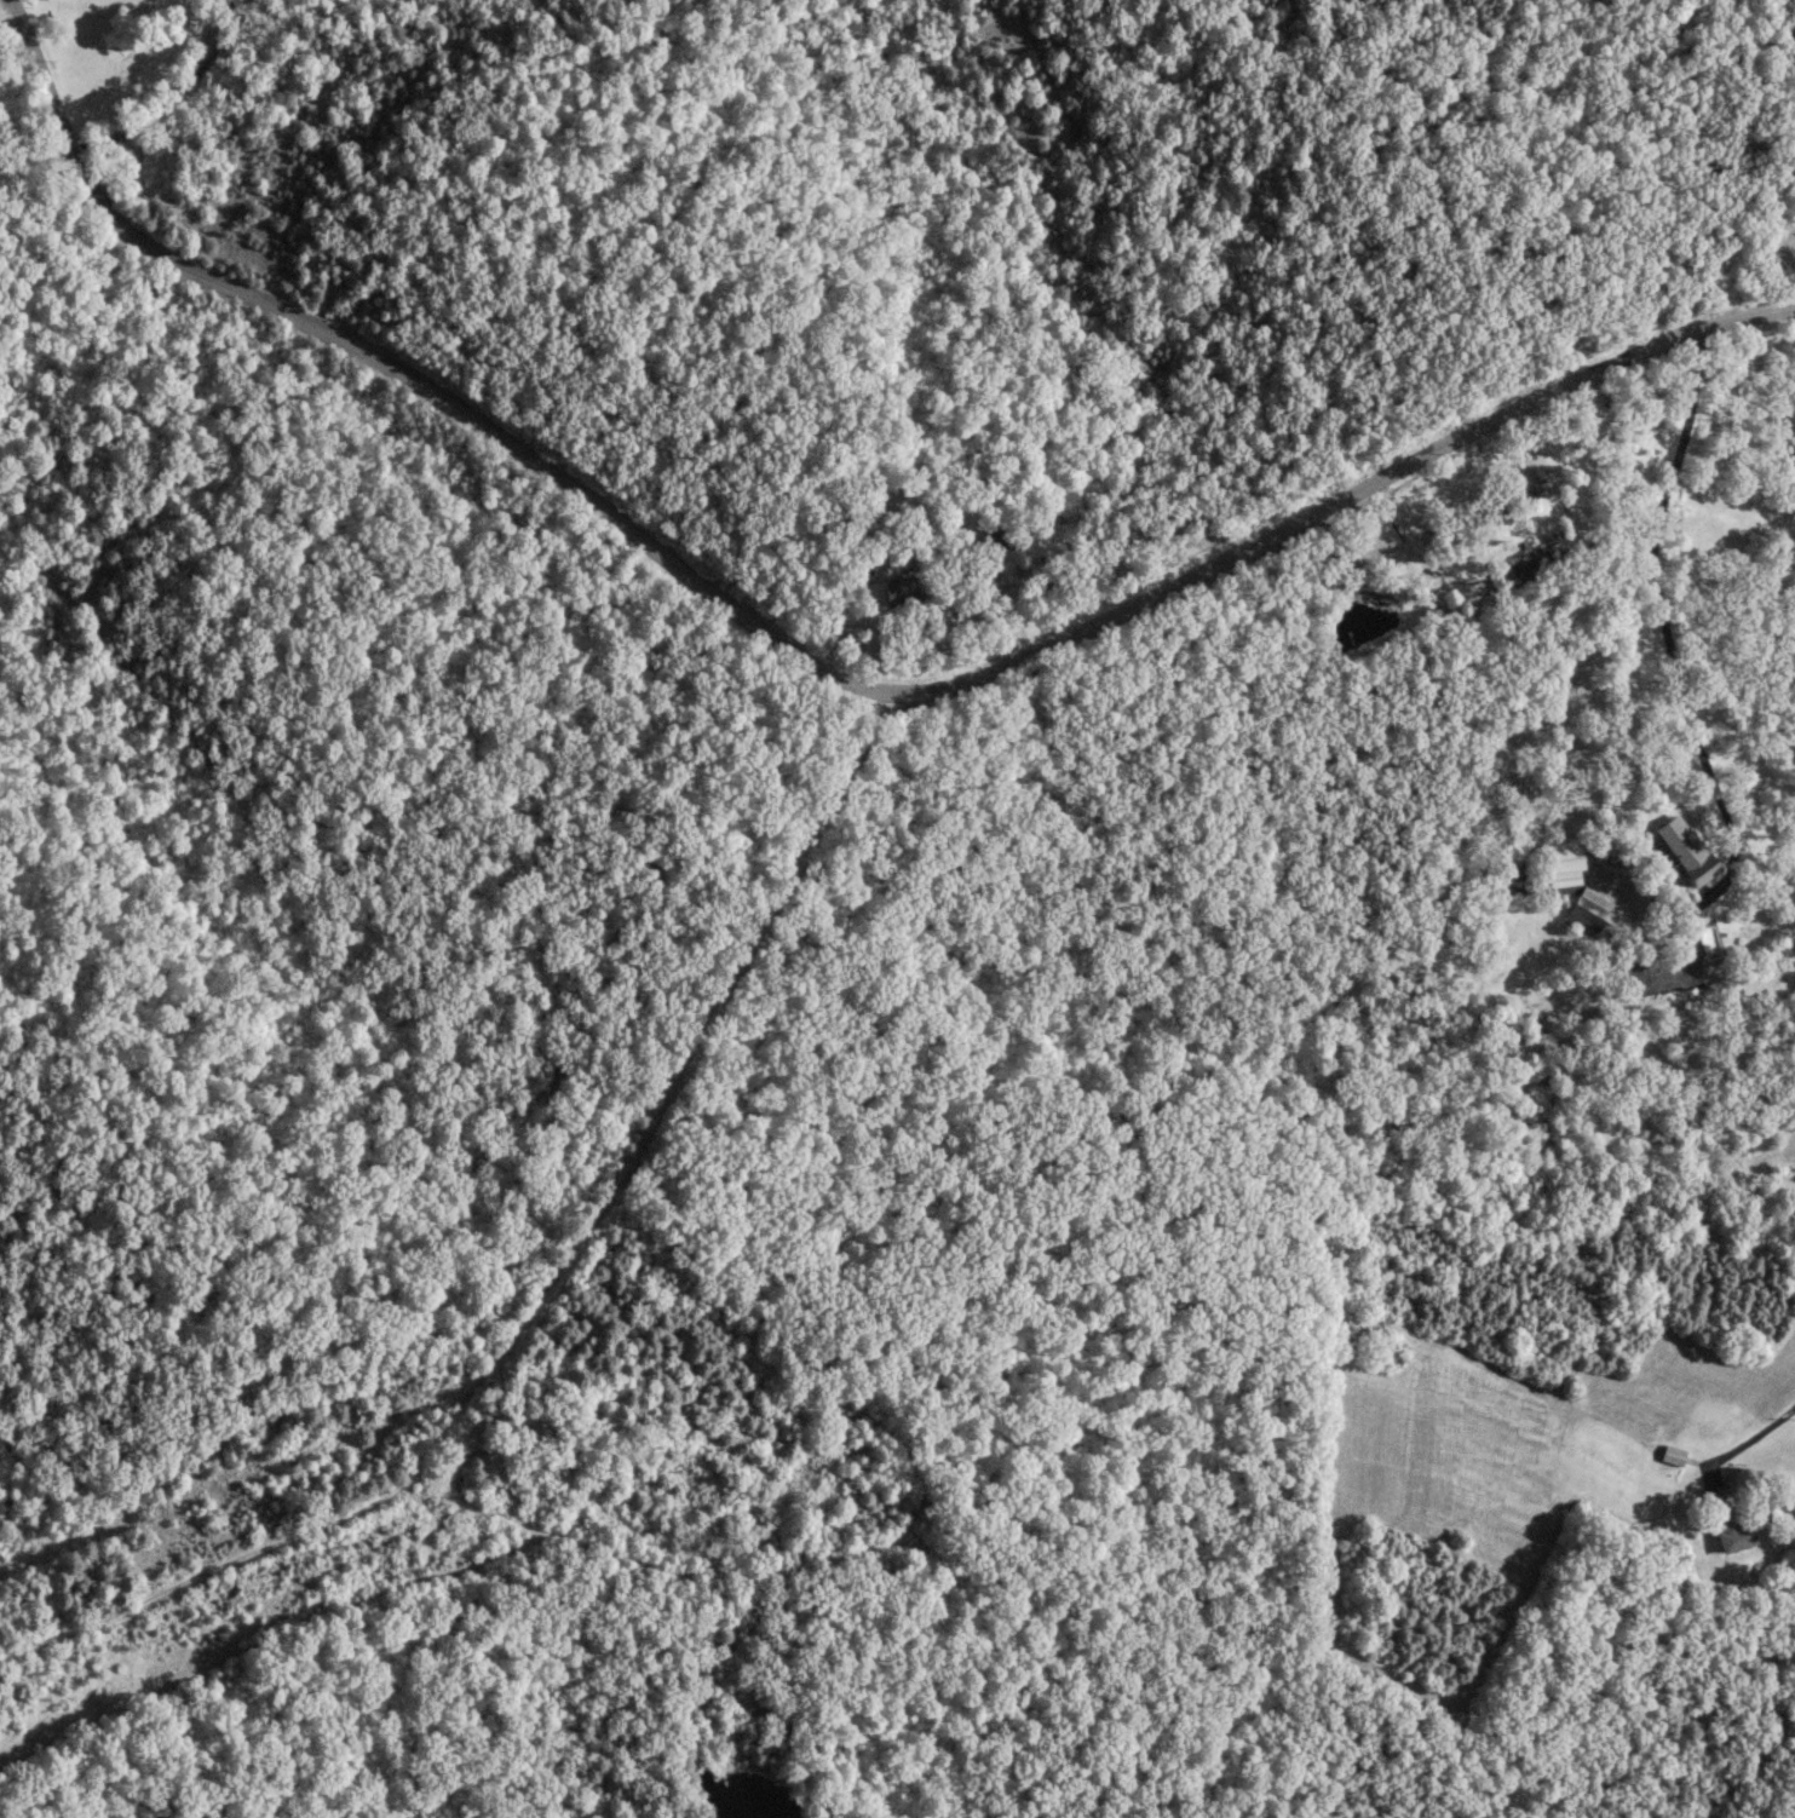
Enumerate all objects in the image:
road: (6, 12)
road: (1766, 271)
building: (1501, 500)
building: (896, 588)
road: (810, 660)
road: (1674, 661)
road: (427, 663)
building: (1675, 841)
building: (1560, 867)
building: (1508, 879)
building: (1587, 911)
road: (566, 1308)
road: (1756, 1432)
building: (1669, 1452)
building: (1722, 1515)

